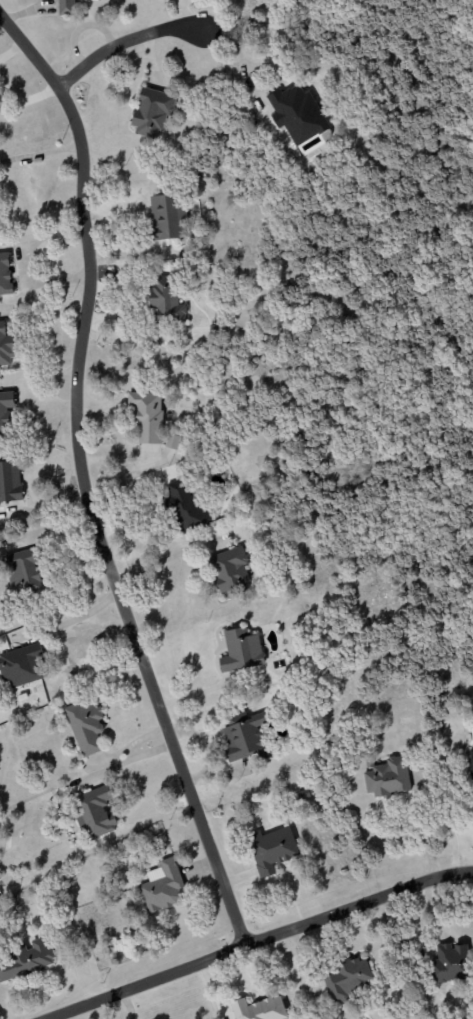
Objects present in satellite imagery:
building: (65, 7)
road: (182, 14)
road: (123, 42)
road: (241, 61)
building: (151, 112)
building: (297, 114)
road: (40, 153)
building: (167, 217)
road: (17, 263)
building: (5, 275)
building: (165, 299)
building: (5, 347)
building: (5, 410)
building: (146, 416)
building: (172, 442)
road: (82, 479)
building: (10, 481)
building: (184, 506)
road: (158, 563)
building: (230, 570)
building: (23, 572)
road: (68, 621)
building: (240, 651)
building: (22, 666)
building: (85, 727)
building: (242, 738)
building: (471, 763)
building: (386, 777)
building: (94, 813)
building: (271, 849)
building: (161, 886)
road: (357, 905)
building: (27, 960)
building: (450, 964)
building: (348, 978)
road: (145, 982)
building: (259, 1009)

